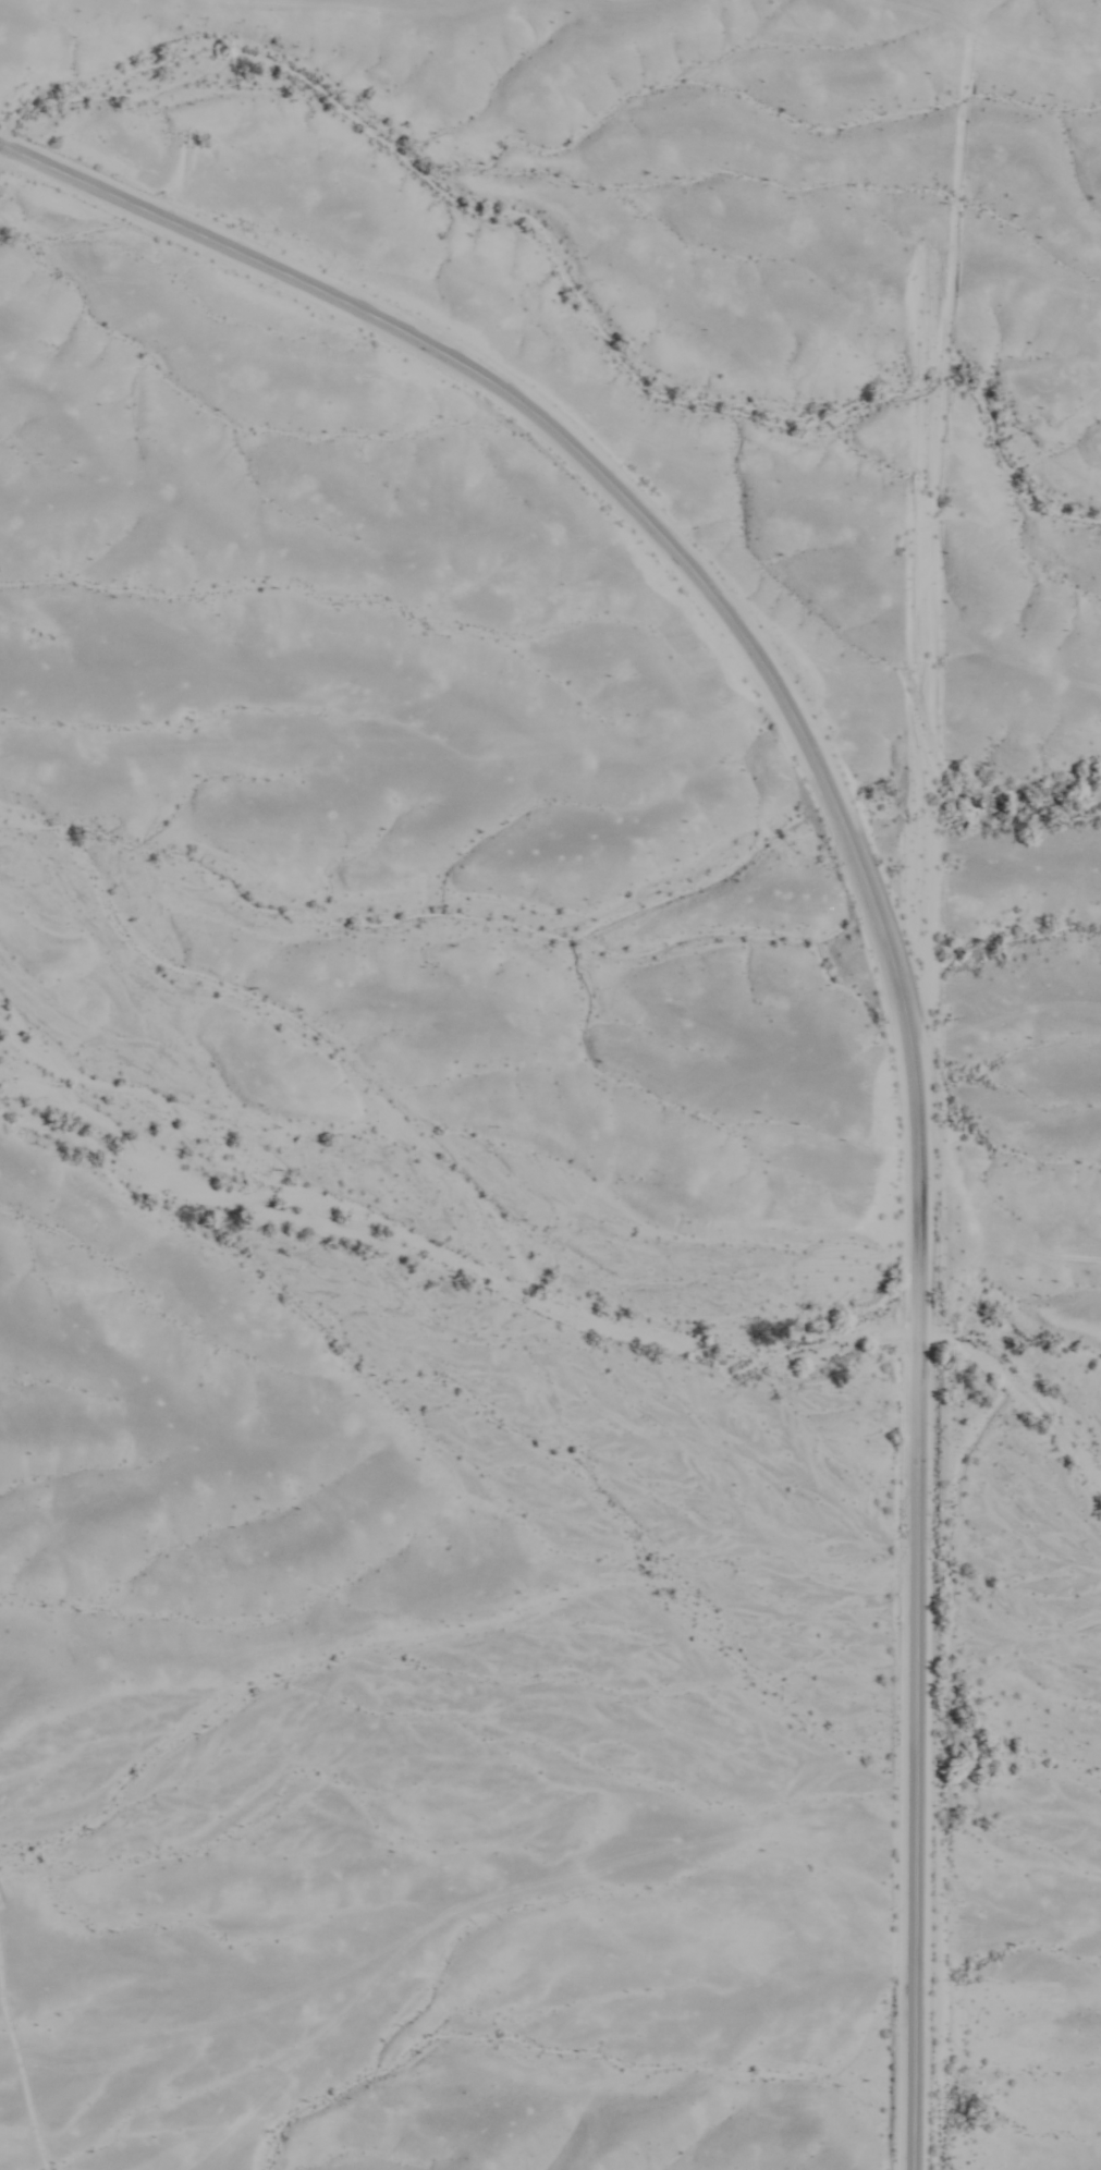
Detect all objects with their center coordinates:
road: (881, 938)

